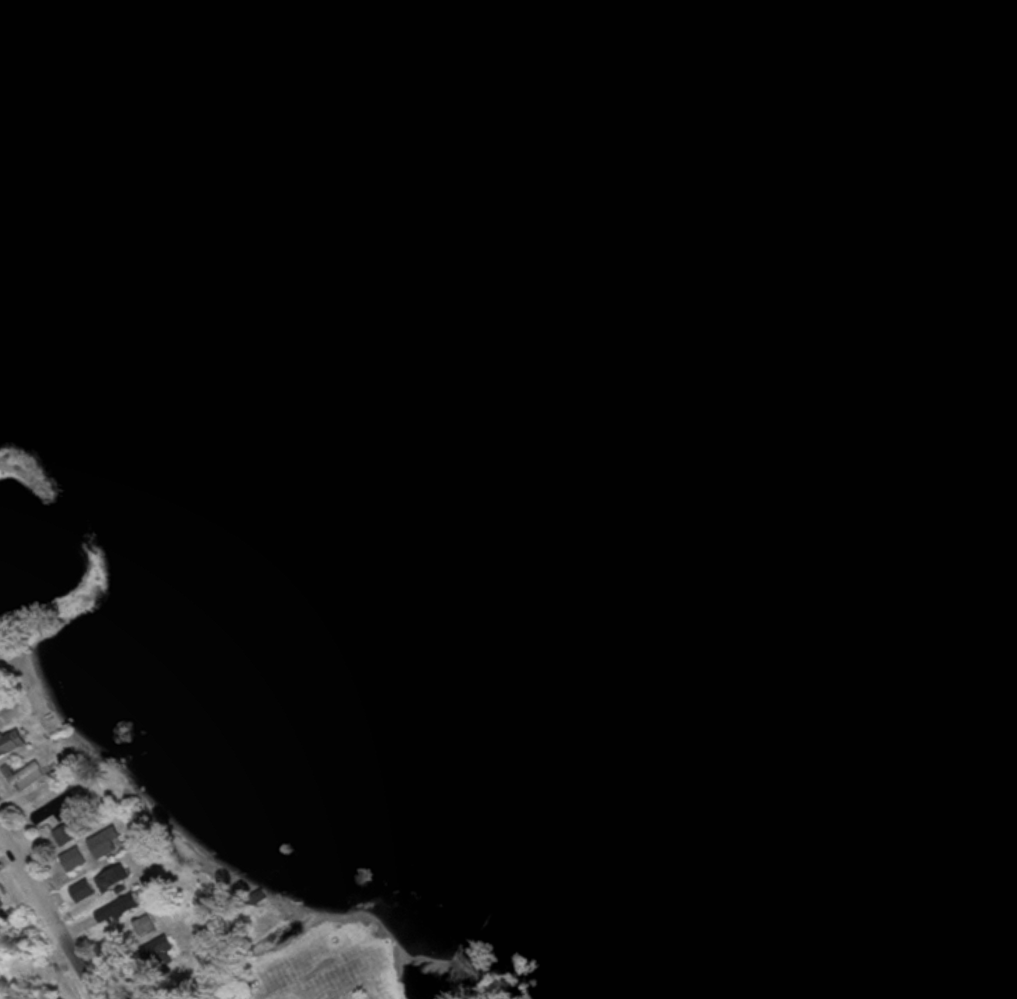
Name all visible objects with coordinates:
building: (10, 741)
building: (26, 774)
building: (65, 835)
building: (104, 842)
building: (74, 860)
building: (112, 878)
building: (262, 894)
building: (1, 902)
building: (118, 908)
road: (53, 912)
building: (144, 925)
road: (320, 949)
building: (161, 950)
park: (506, 983)

